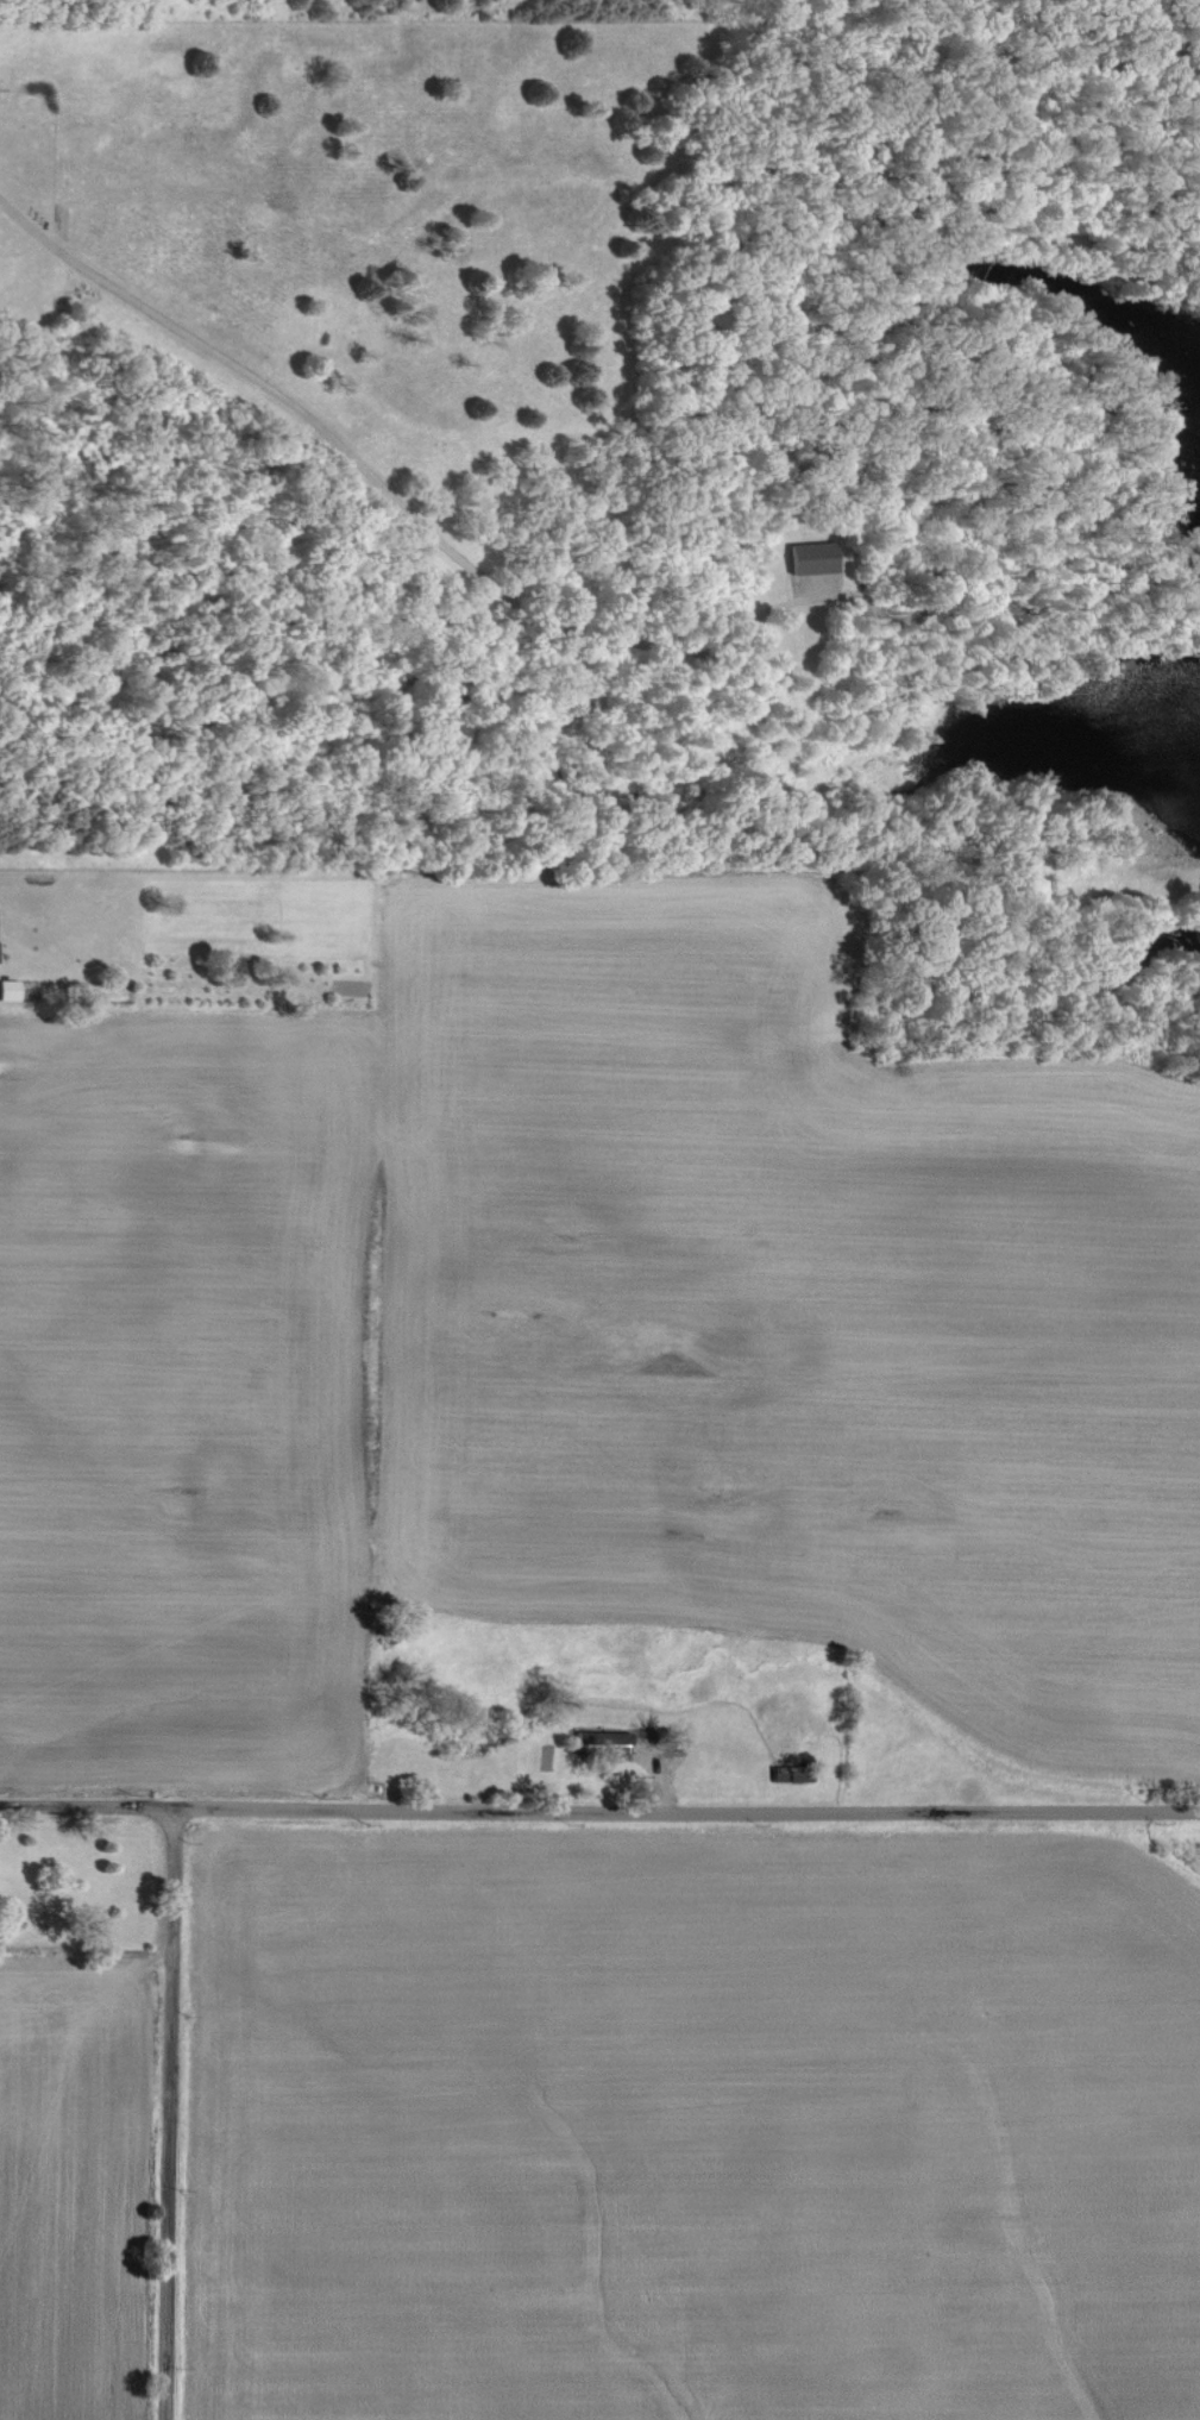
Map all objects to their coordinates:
road: (387, 491)
building: (810, 558)
building: (7, 990)
building: (611, 1741)
road: (599, 1812)
road: (170, 2117)

